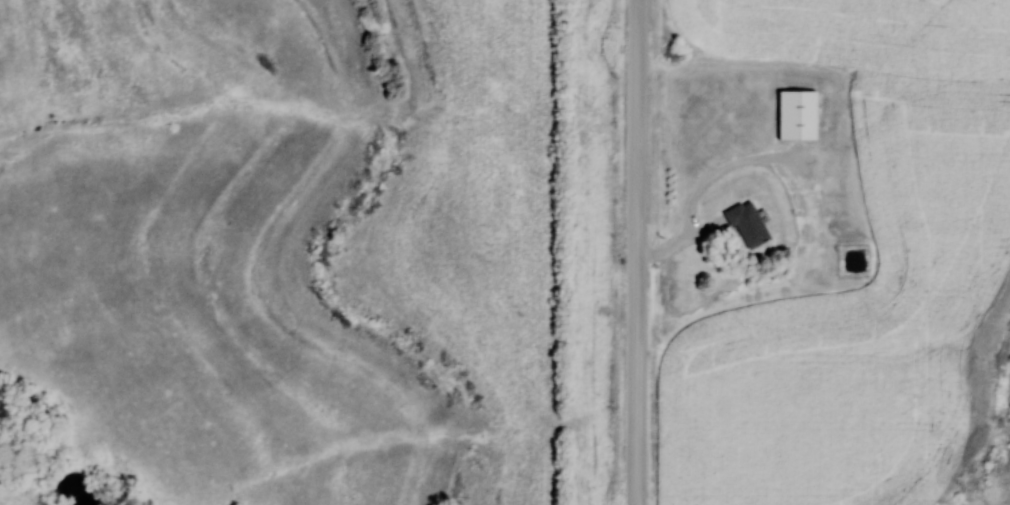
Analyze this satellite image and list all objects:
building: (796, 115)
building: (746, 224)
road: (640, 252)

